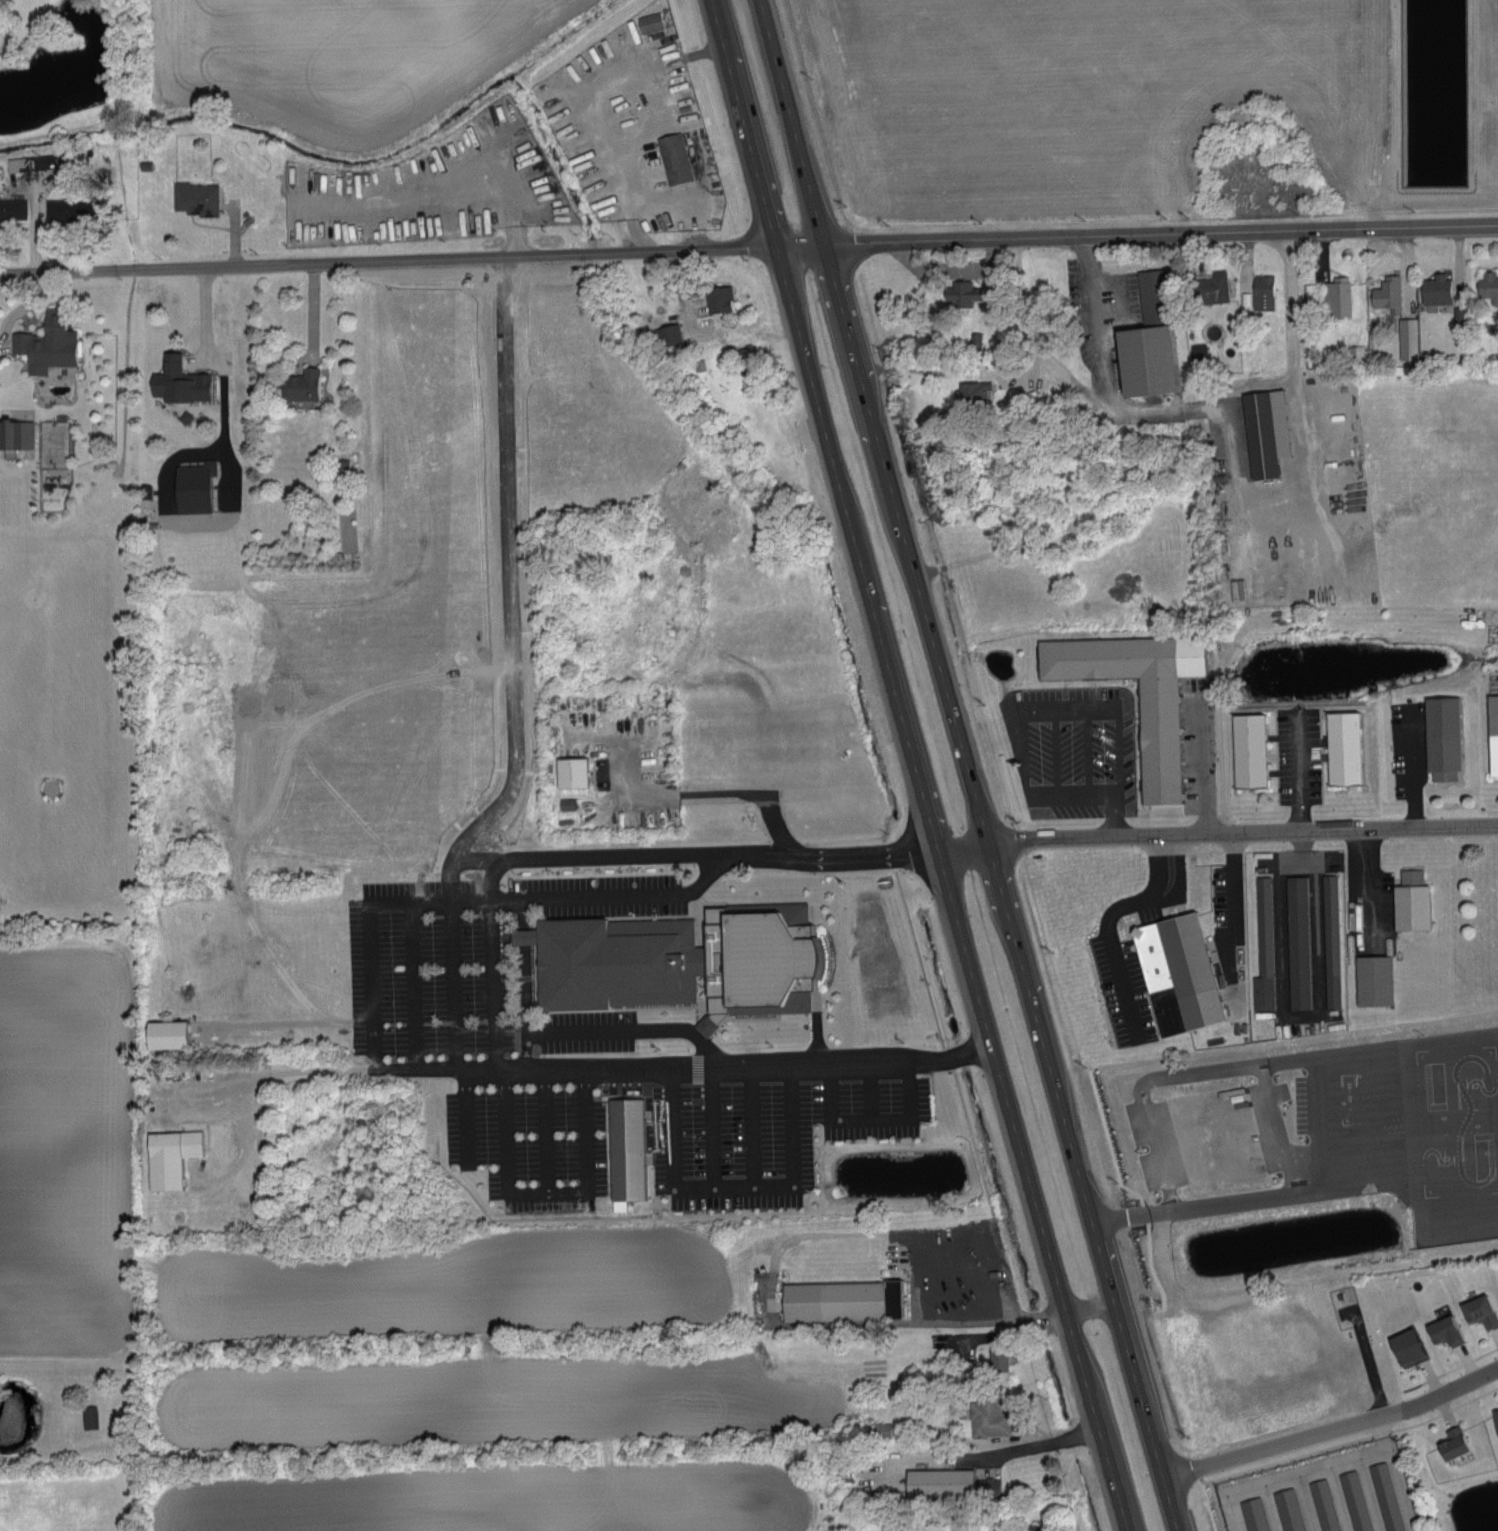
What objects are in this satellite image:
building: (653, 24)
road: (697, 56)
crop: (1082, 107)
building: (677, 160)
building: (31, 162)
building: (201, 201)
building: (12, 208)
building: (58, 209)
road: (830, 246)
road: (949, 264)
road: (81, 272)
road: (680, 286)
building: (1488, 286)
building: (1211, 288)
building: (1435, 289)
building: (1262, 292)
building: (1386, 293)
building: (960, 294)
building: (1336, 296)
building: (718, 299)
road: (313, 310)
road: (18, 313)
building: (669, 334)
building: (1407, 338)
building: (974, 341)
building: (46, 343)
building: (1354, 352)
building: (1160, 365)
road: (218, 367)
road: (1006, 369)
building: (178, 382)
building: (299, 385)
building: (972, 393)
building: (15, 434)
building: (1266, 438)
building: (191, 476)
road: (1238, 481)
road: (514, 590)
parking lot: (1496, 719)
road: (1114, 725)
building: (1450, 737)
building: (1166, 745)
parking lot: (1200, 747)
parking lot: (1074, 750)
parking lot: (1410, 750)
building: (1497, 752)
building: (1351, 753)
road: (1059, 755)
road: (1086, 755)
building: (1255, 755)
parking lot: (1301, 757)
road: (1203, 764)
road: (969, 765)
road: (916, 766)
building: (570, 771)
road: (1413, 772)
road: (733, 789)
road: (1031, 794)
road: (1302, 794)
road: (1218, 834)
road: (865, 847)
road: (626, 852)
road: (478, 859)
road: (706, 872)
road: (1159, 872)
road: (1367, 882)
road: (1181, 883)
road: (587, 894)
parking lot: (1374, 904)
building: (1420, 905)
road: (1238, 907)
road: (372, 925)
parking lot: (1234, 940)
building: (1337, 944)
parking lot: (1310, 945)
building: (1304, 946)
parking lot: (1135, 952)
building: (1270, 953)
road: (1116, 964)
building: (619, 966)
building: (1186, 979)
road: (493, 982)
road: (452, 983)
road: (411, 984)
building: (1382, 985)
road: (1299, 1025)
road: (685, 1027)
road: (582, 1028)
building: (164, 1033)
road: (524, 1049)
road: (636, 1065)
road: (463, 1114)
building: (877, 1114)
road: (872, 1115)
building: (756, 1119)
road: (749, 1123)
road: (710, 1124)
road: (543, 1129)
building: (634, 1154)
building: (177, 1162)
road: (731, 1184)
road: (545, 1191)
road: (1207, 1235)
road: (998, 1295)
building: (850, 1306)
road: (1089, 1309)
building: (1480, 1310)
building: (1444, 1330)
building: (1407, 1347)
building: (997, 1358)
building: (988, 1412)
building: (88, 1416)
building: (1495, 1419)
road: (1331, 1428)
building: (881, 1429)
building: (1453, 1442)
road: (1039, 1445)
road: (1333, 1464)
building: (939, 1482)
building: (991, 1485)
building: (1386, 1496)
building: (1357, 1500)
building: (1324, 1505)
building: (1292, 1509)
building: (1254, 1514)
building: (1028, 1527)

